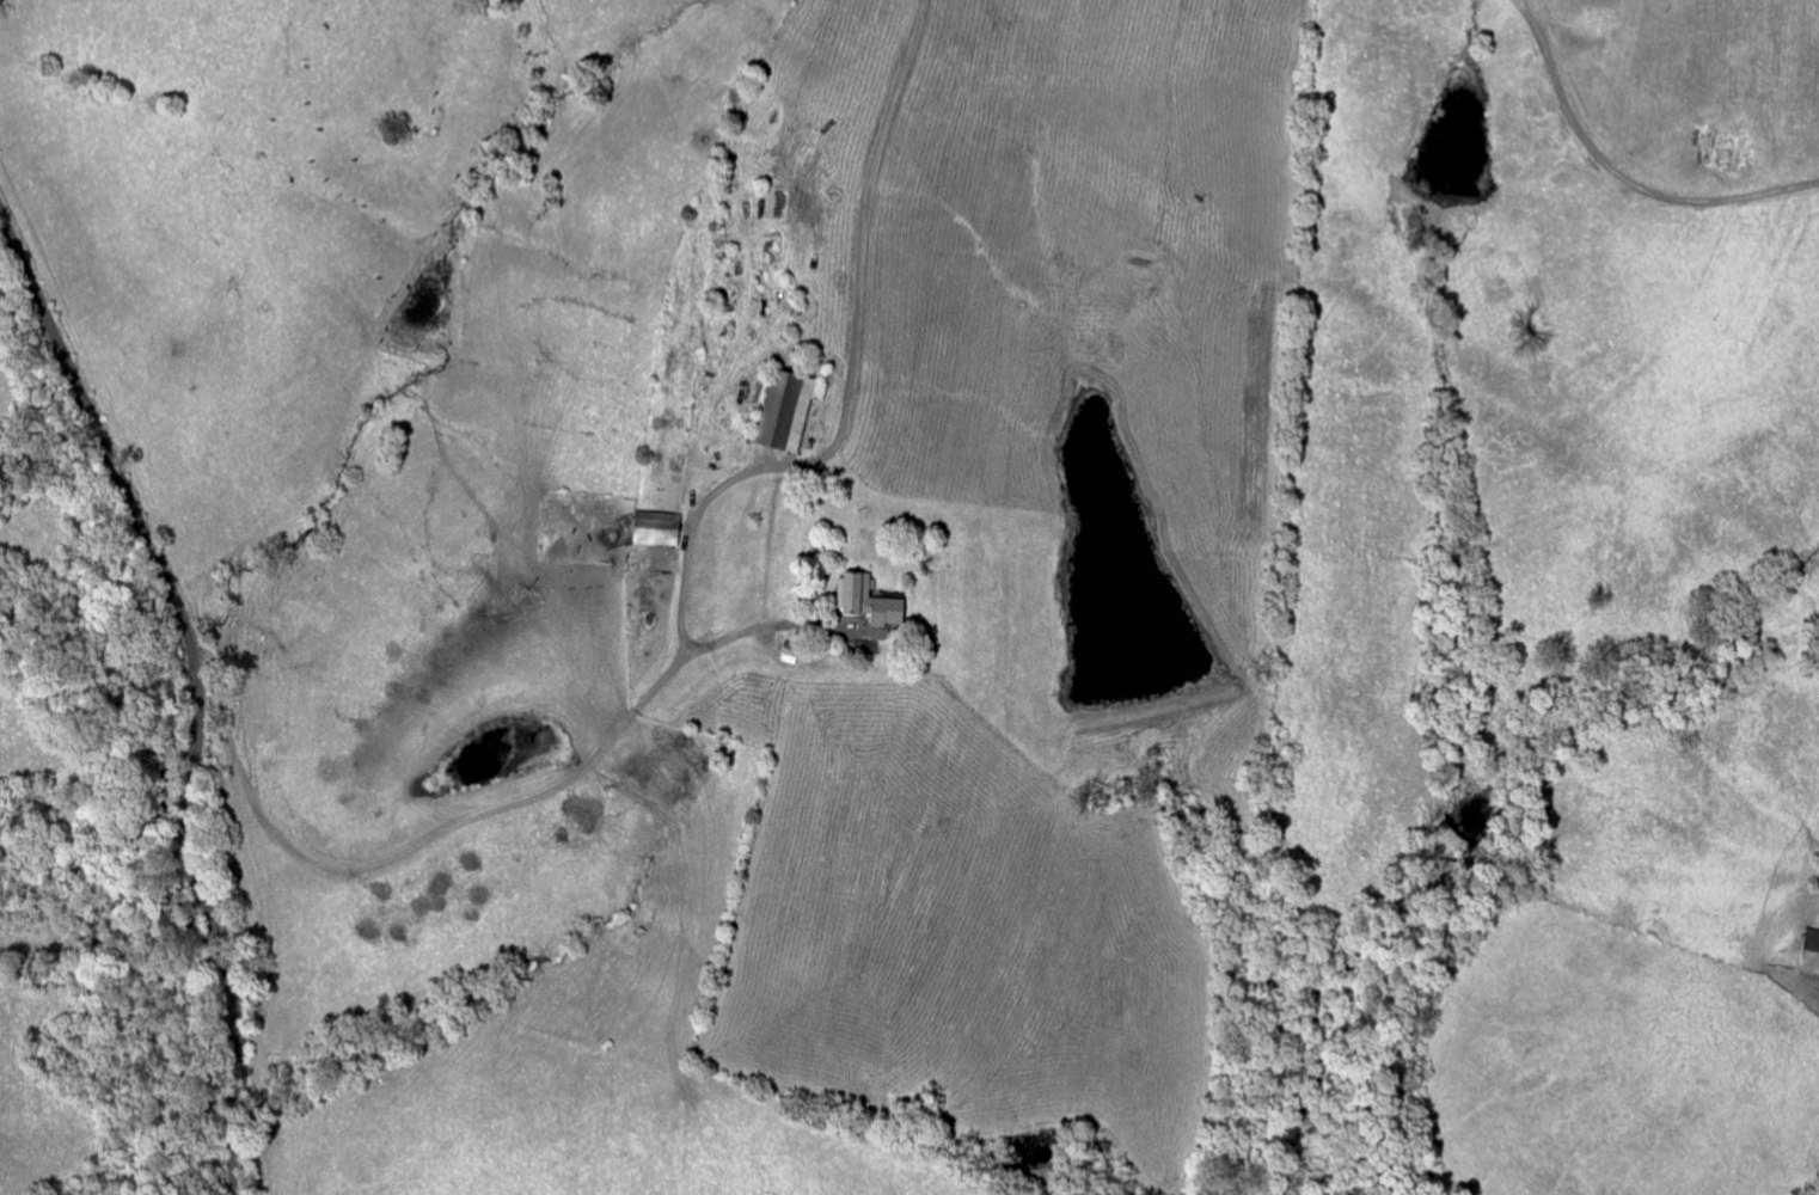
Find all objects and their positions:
road: (1619, 173)
building: (792, 410)
road: (833, 447)
building: (661, 529)
building: (792, 655)
road: (195, 686)
building: (1813, 955)

